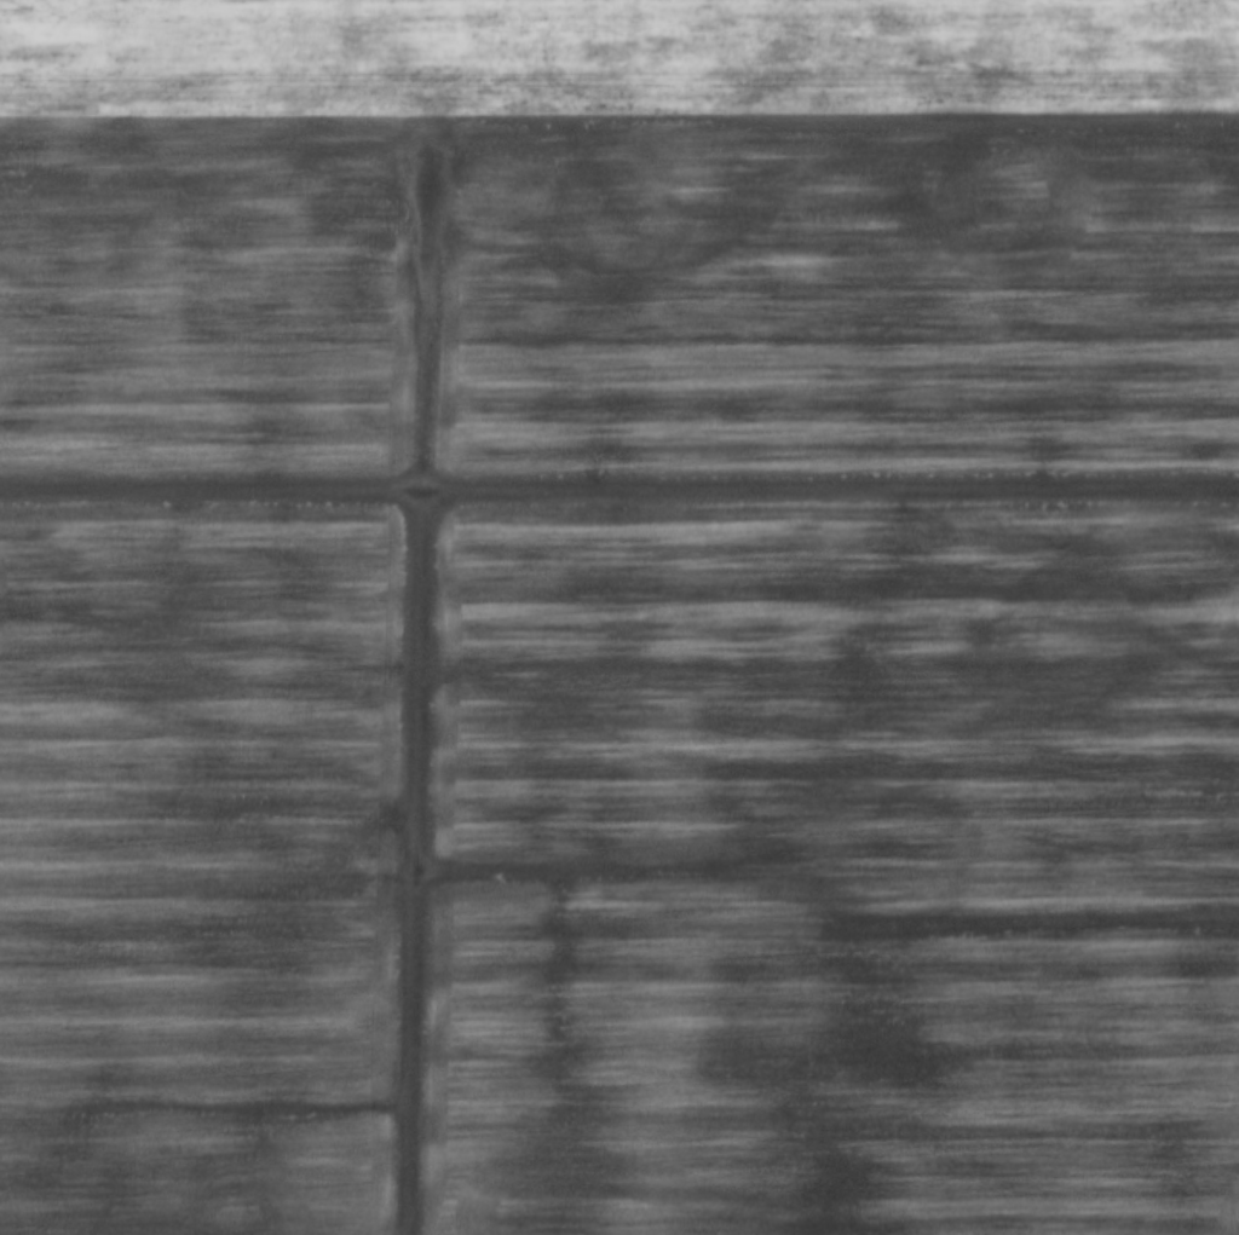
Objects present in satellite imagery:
crop: (619, 617)

